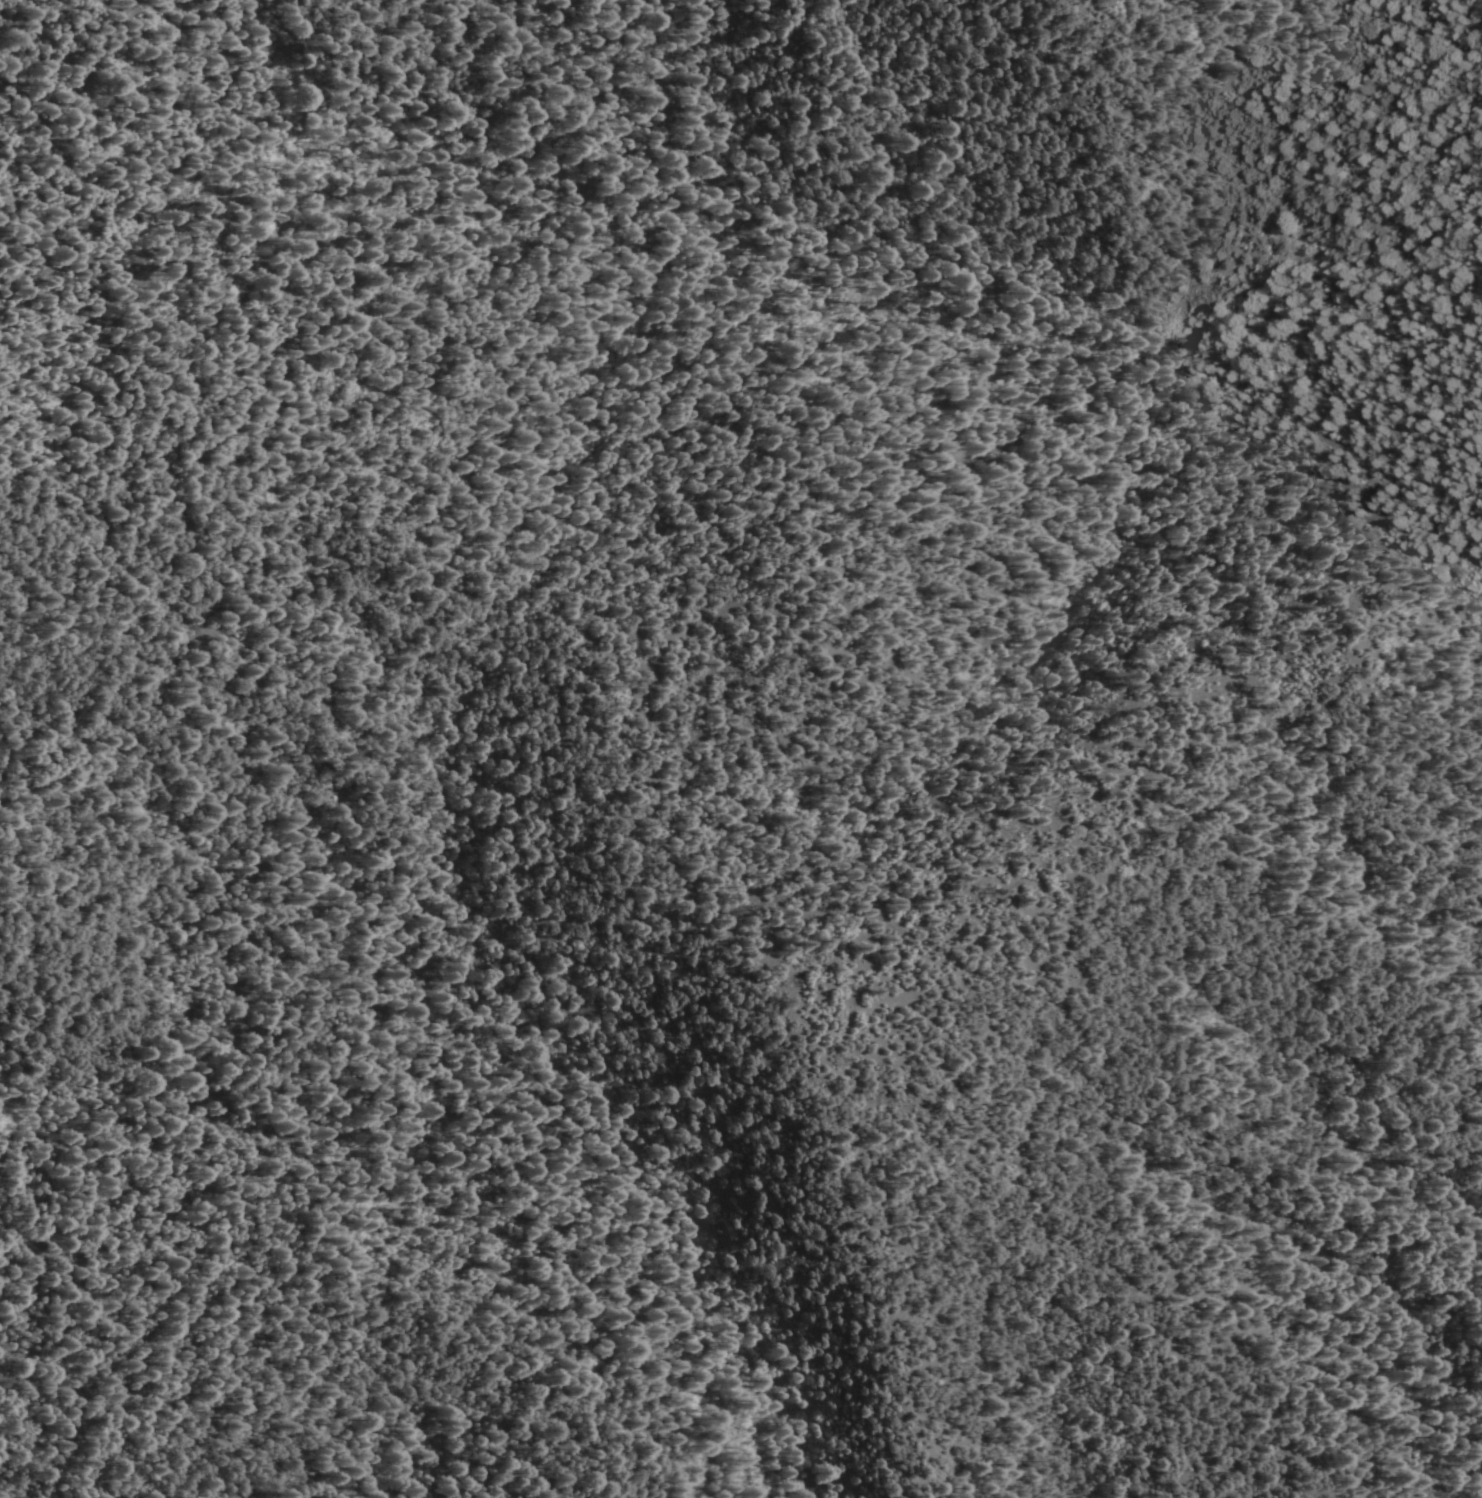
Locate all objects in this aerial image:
road: (374, 707)
road: (1108, 775)
road: (993, 1284)
road: (710, 1288)
road: (299, 1303)
road: (428, 1440)

